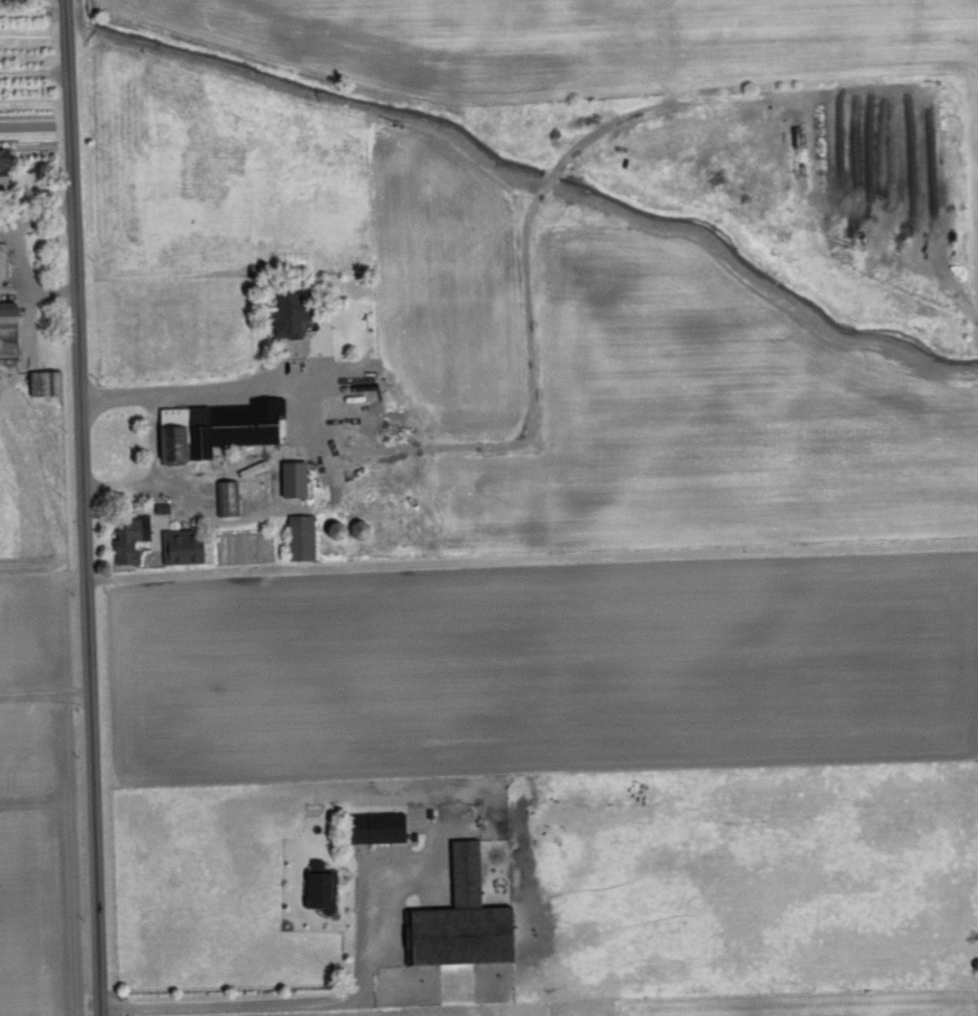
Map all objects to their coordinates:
road: (34, 71)
building: (1, 165)
road: (37, 216)
building: (2, 260)
road: (27, 277)
building: (8, 314)
building: (287, 314)
building: (44, 381)
road: (187, 394)
building: (216, 425)
road: (151, 468)
building: (291, 477)
building: (223, 497)
road: (88, 507)
building: (299, 536)
building: (128, 537)
building: (179, 545)
road: (46, 695)
building: (375, 827)
building: (318, 886)
building: (460, 917)
road: (287, 1001)

